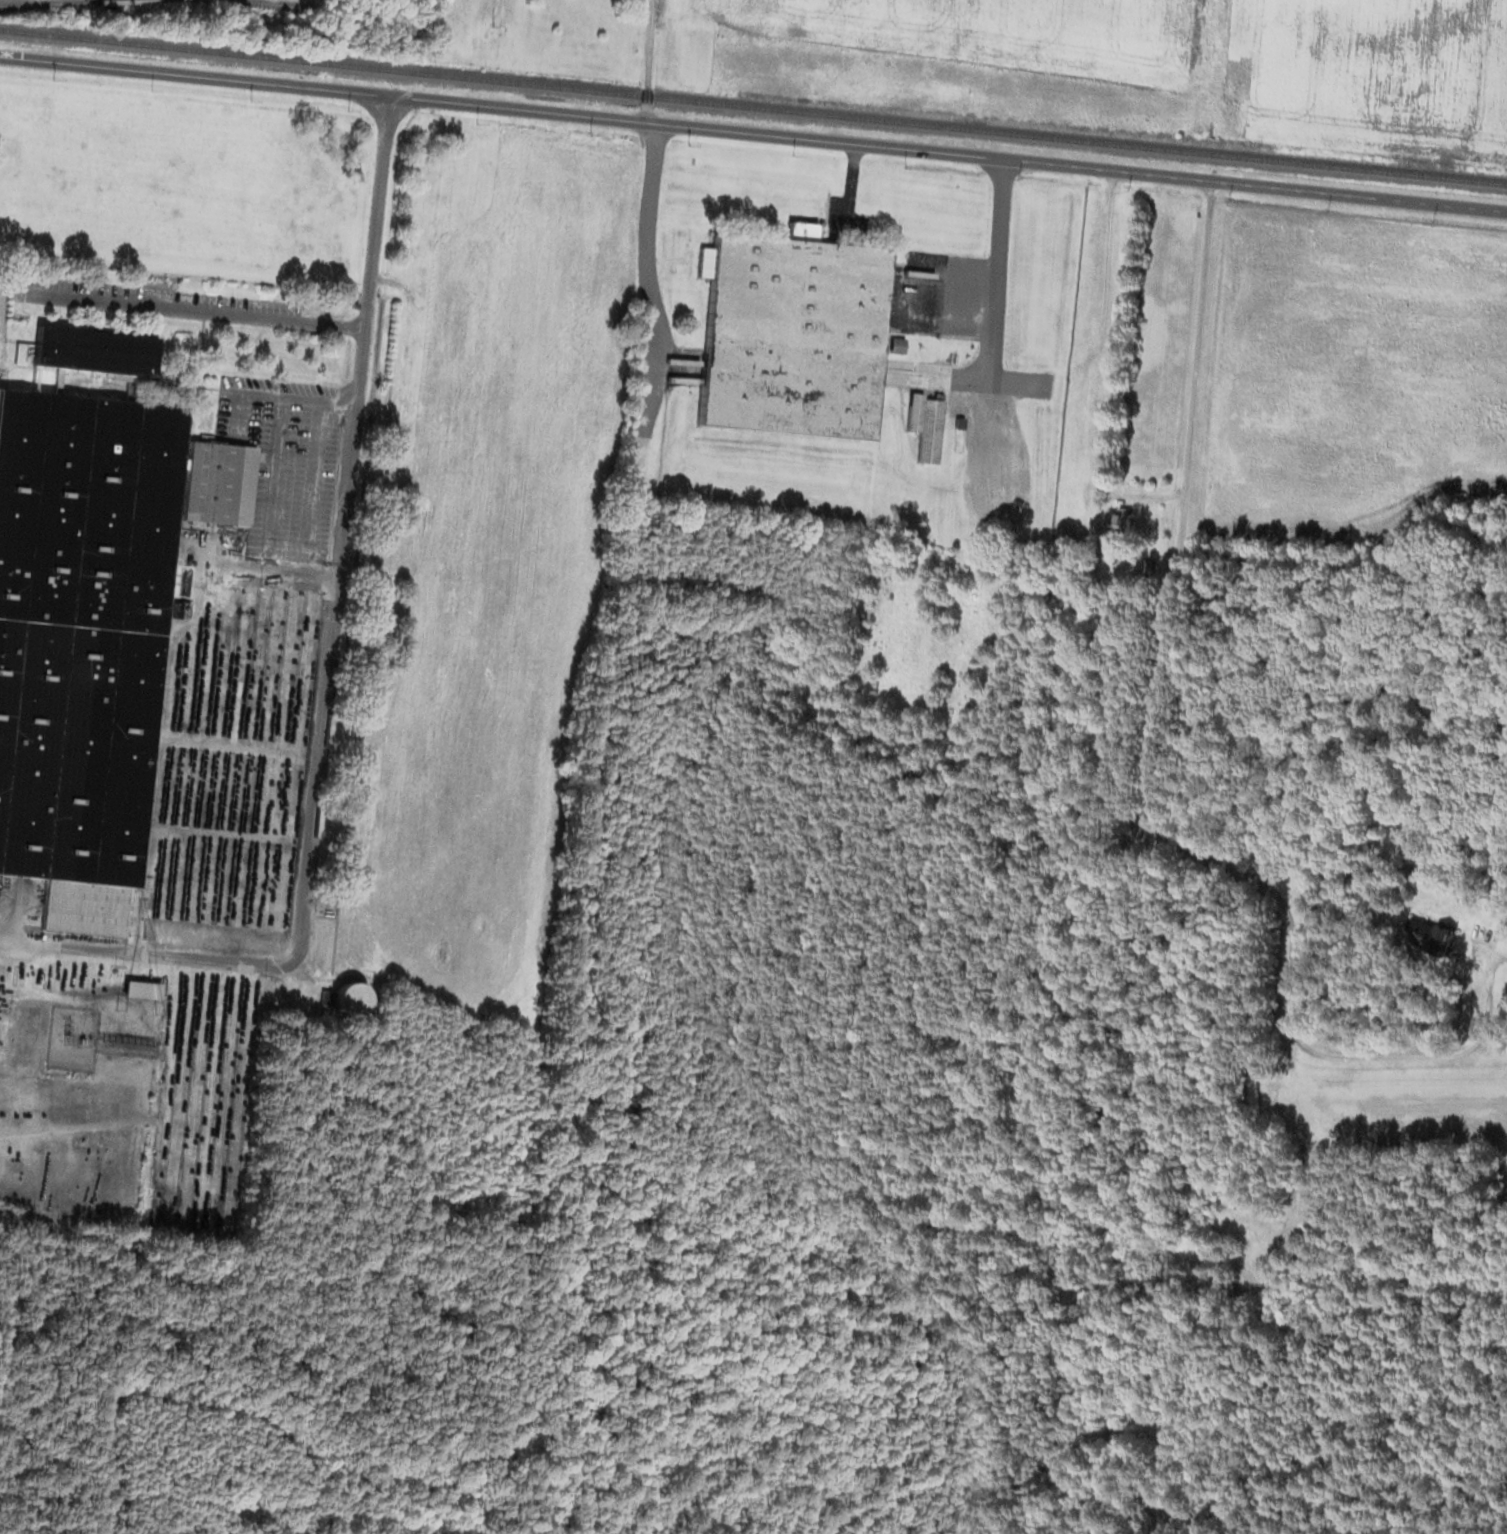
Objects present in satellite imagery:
railway: (42, 1)
railway: (277, 3)
road: (645, 60)
railway: (753, 106)
road: (753, 132)
road: (648, 269)
road: (193, 308)
building: (789, 334)
building: (925, 425)
building: (1115, 519)
building: (88, 605)
road: (327, 672)
road: (1155, 754)
building: (345, 996)
road: (1486, 1006)

